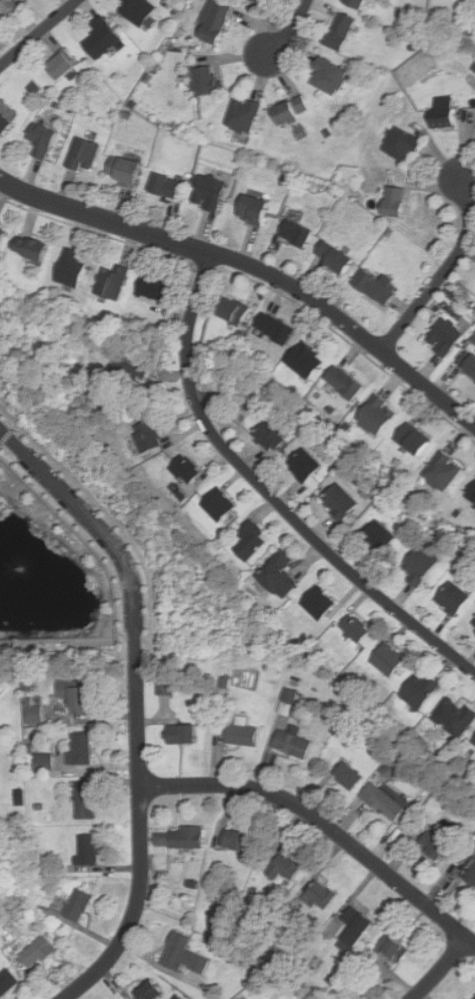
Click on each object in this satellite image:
building: (264, 1)
building: (361, 3)
building: (10, 9)
building: (141, 11)
building: (220, 22)
road: (292, 31)
building: (346, 32)
road: (38, 33)
building: (105, 38)
building: (67, 66)
building: (332, 77)
building: (210, 82)
building: (296, 112)
building: (246, 114)
building: (441, 115)
building: (8, 123)
building: (46, 139)
building: (400, 145)
building: (84, 154)
building: (124, 171)
building: (164, 185)
building: (207, 192)
building: (400, 203)
building: (251, 210)
building: (295, 233)
building: (1, 237)
building: (30, 248)
building: (332, 257)
road: (255, 267)
building: (69, 268)
road: (444, 271)
building: (110, 281)
building: (153, 288)
building: (373, 288)
building: (231, 311)
building: (273, 328)
building: (443, 337)
building: (304, 360)
building: (467, 363)
building: (135, 373)
building: (343, 383)
building: (375, 416)
building: (270, 433)
building: (146, 436)
building: (411, 440)
building: (303, 465)
building: (185, 468)
building: (441, 471)
building: (471, 491)
road: (269, 494)
building: (338, 501)
building: (216, 504)
road: (99, 536)
building: (378, 536)
building: (249, 540)
building: (419, 565)
building: (277, 574)
fountain: (6, 578)
building: (451, 598)
building: (317, 602)
building: (472, 626)
building: (354, 627)
building: (387, 659)
building: (166, 685)
building: (418, 690)
building: (72, 696)
building: (288, 702)
building: (34, 712)
building: (453, 716)
building: (179, 734)
building: (240, 734)
building: (473, 741)
building: (291, 744)
building: (80, 748)
building: (43, 762)
building: (389, 769)
building: (346, 775)
building: (387, 800)
building: (83, 802)
road: (323, 823)
building: (179, 838)
building: (235, 840)
building: (431, 846)
building: (87, 850)
road: (141, 850)
building: (284, 869)
building: (471, 876)
building: (319, 895)
building: (76, 905)
building: (353, 929)
building: (392, 949)
building: (36, 951)
building: (181, 955)
road: (441, 969)
building: (6, 980)
building: (148, 991)

